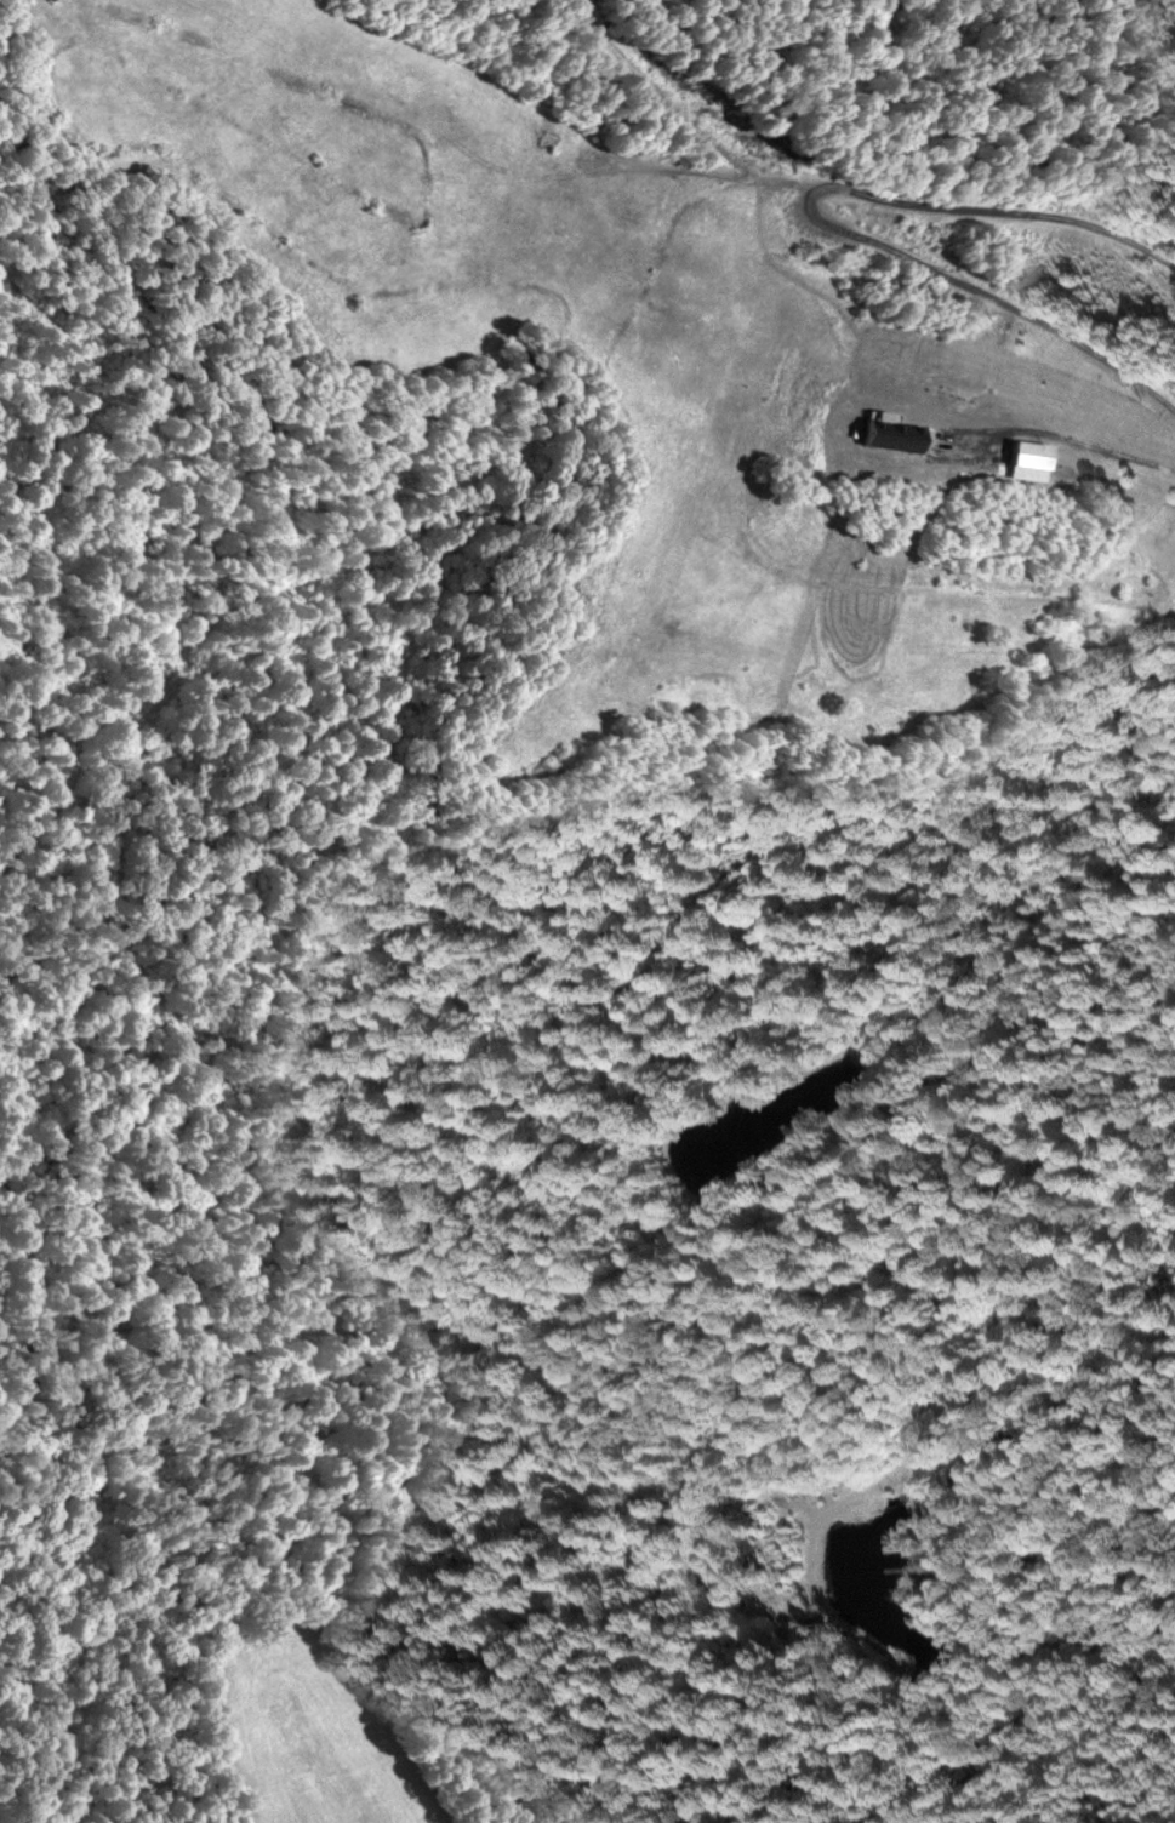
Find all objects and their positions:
building: (1020, 456)

